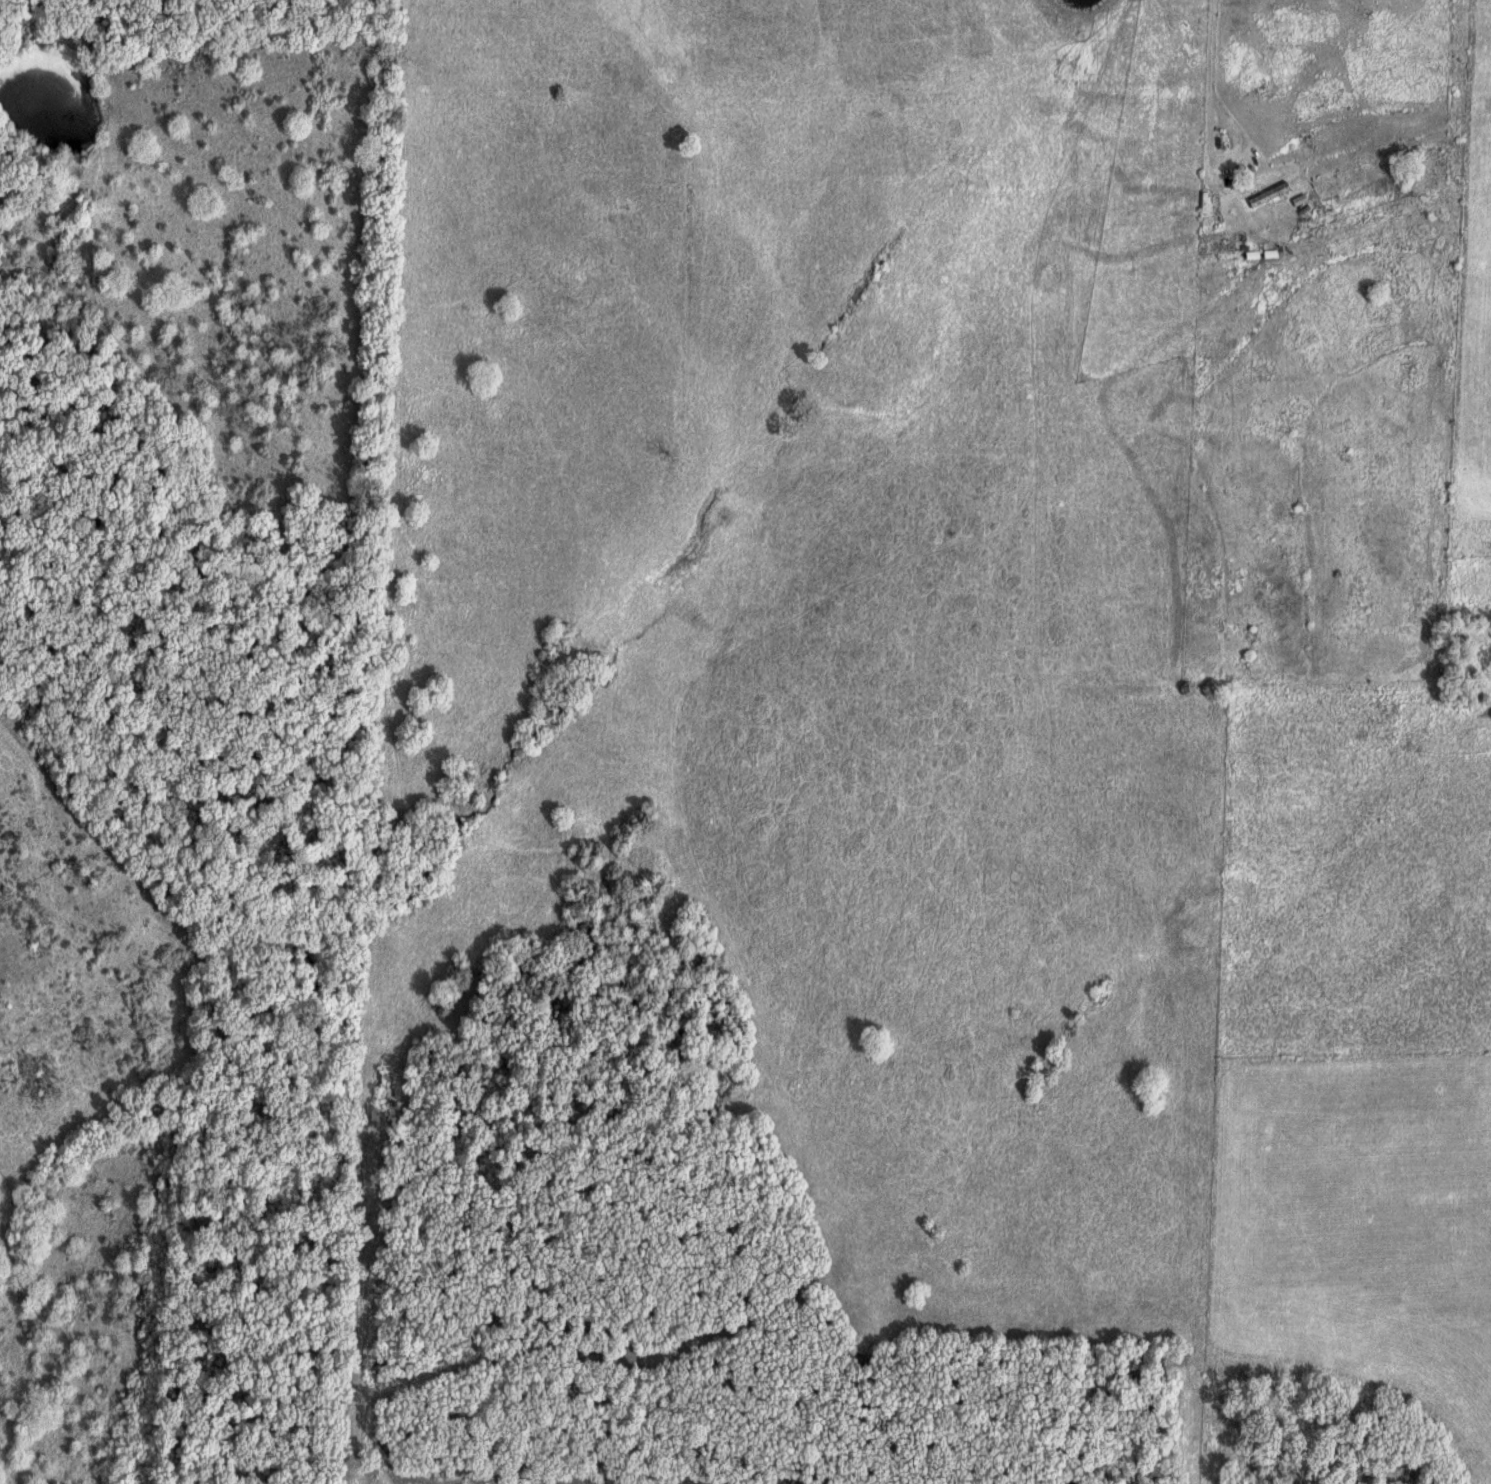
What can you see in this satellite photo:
building: (1266, 195)

